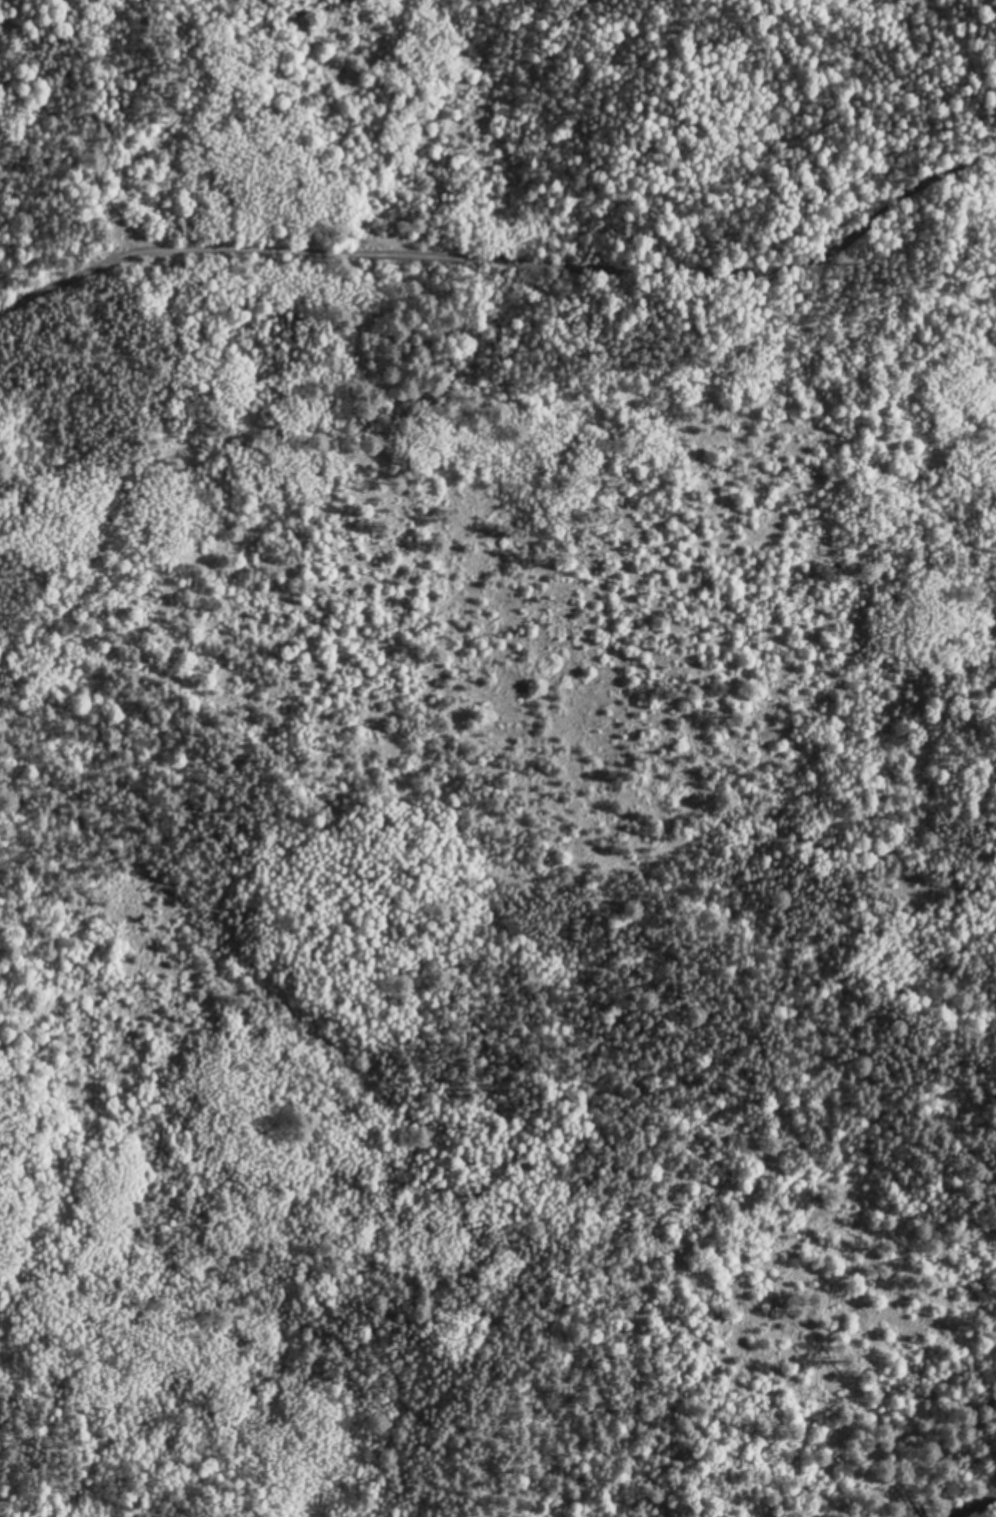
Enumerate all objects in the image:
road: (496, 207)
road: (994, 1516)

